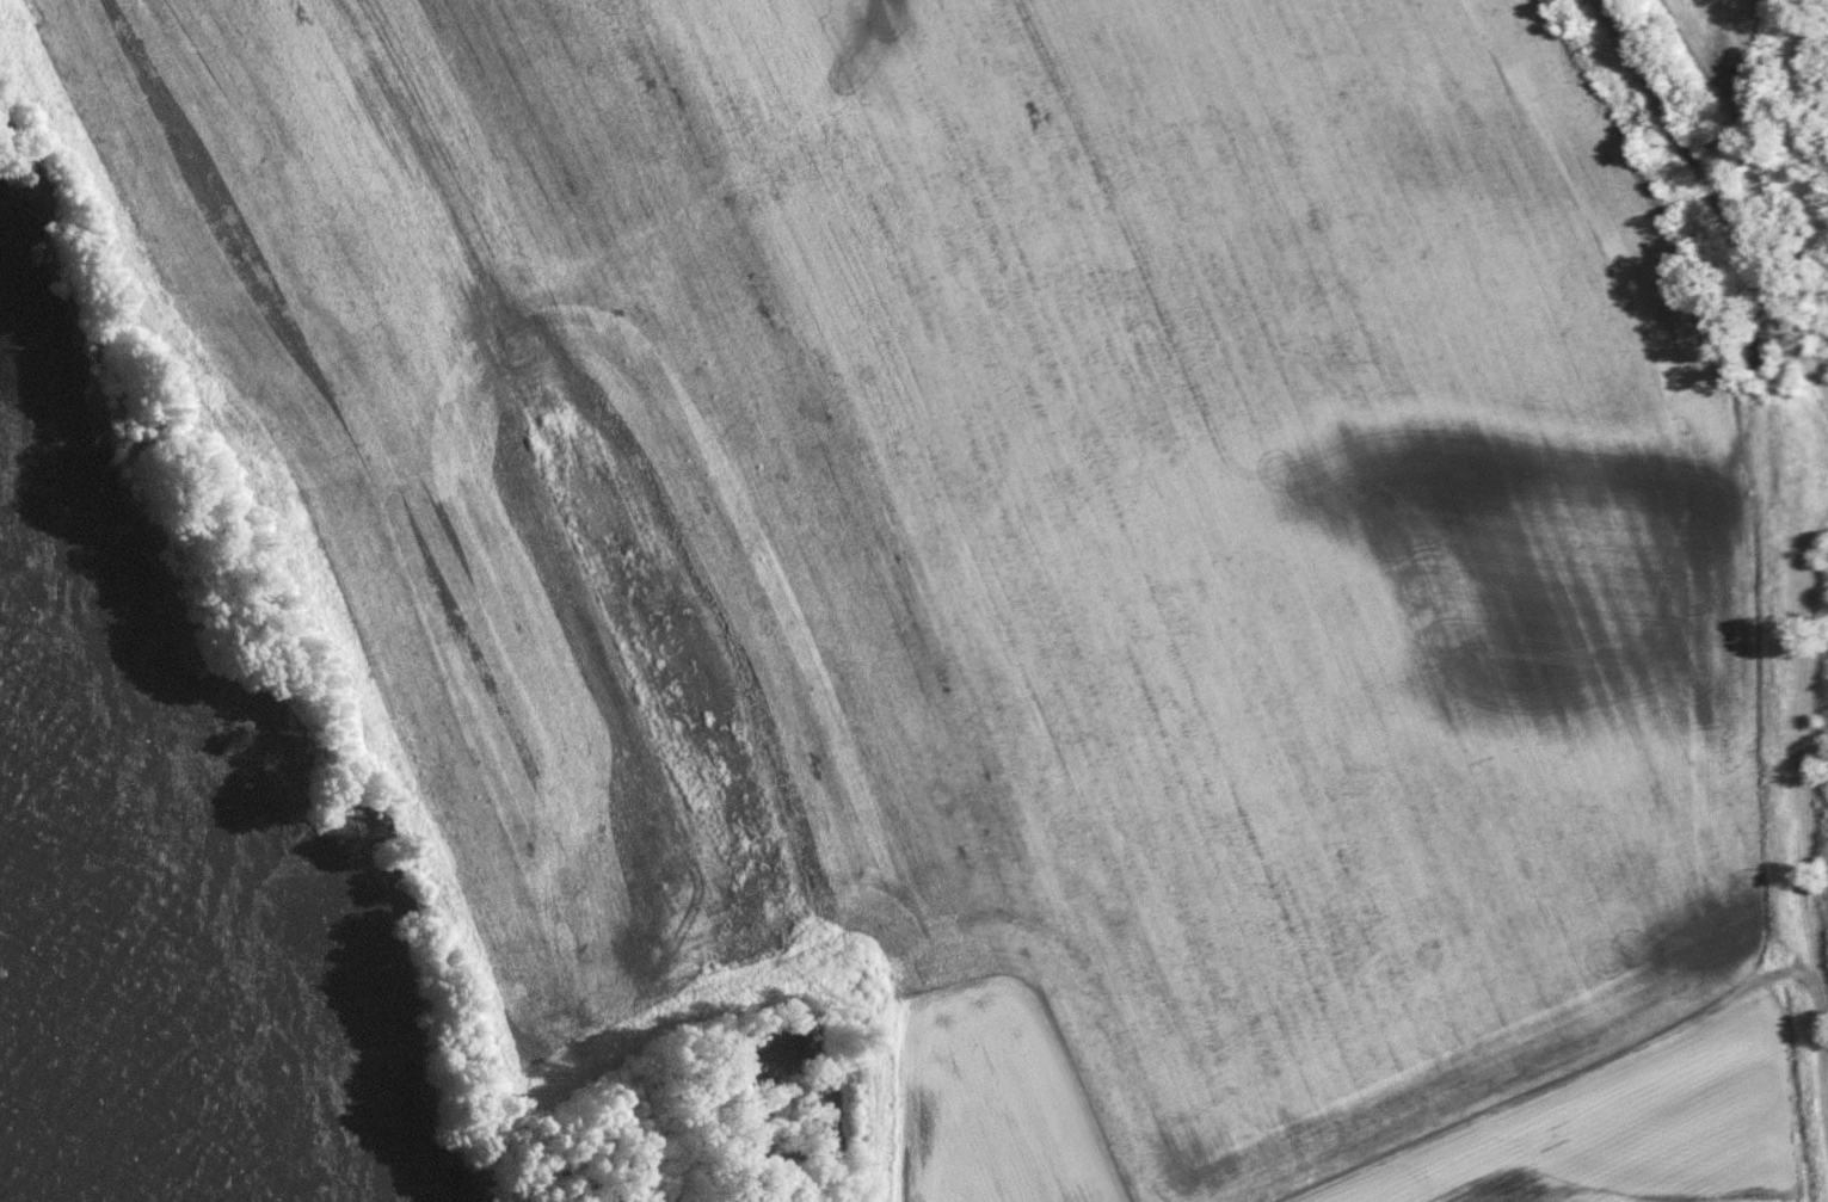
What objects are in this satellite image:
crop: (1728, 49)
road: (1716, 202)
crop: (1032, 549)

